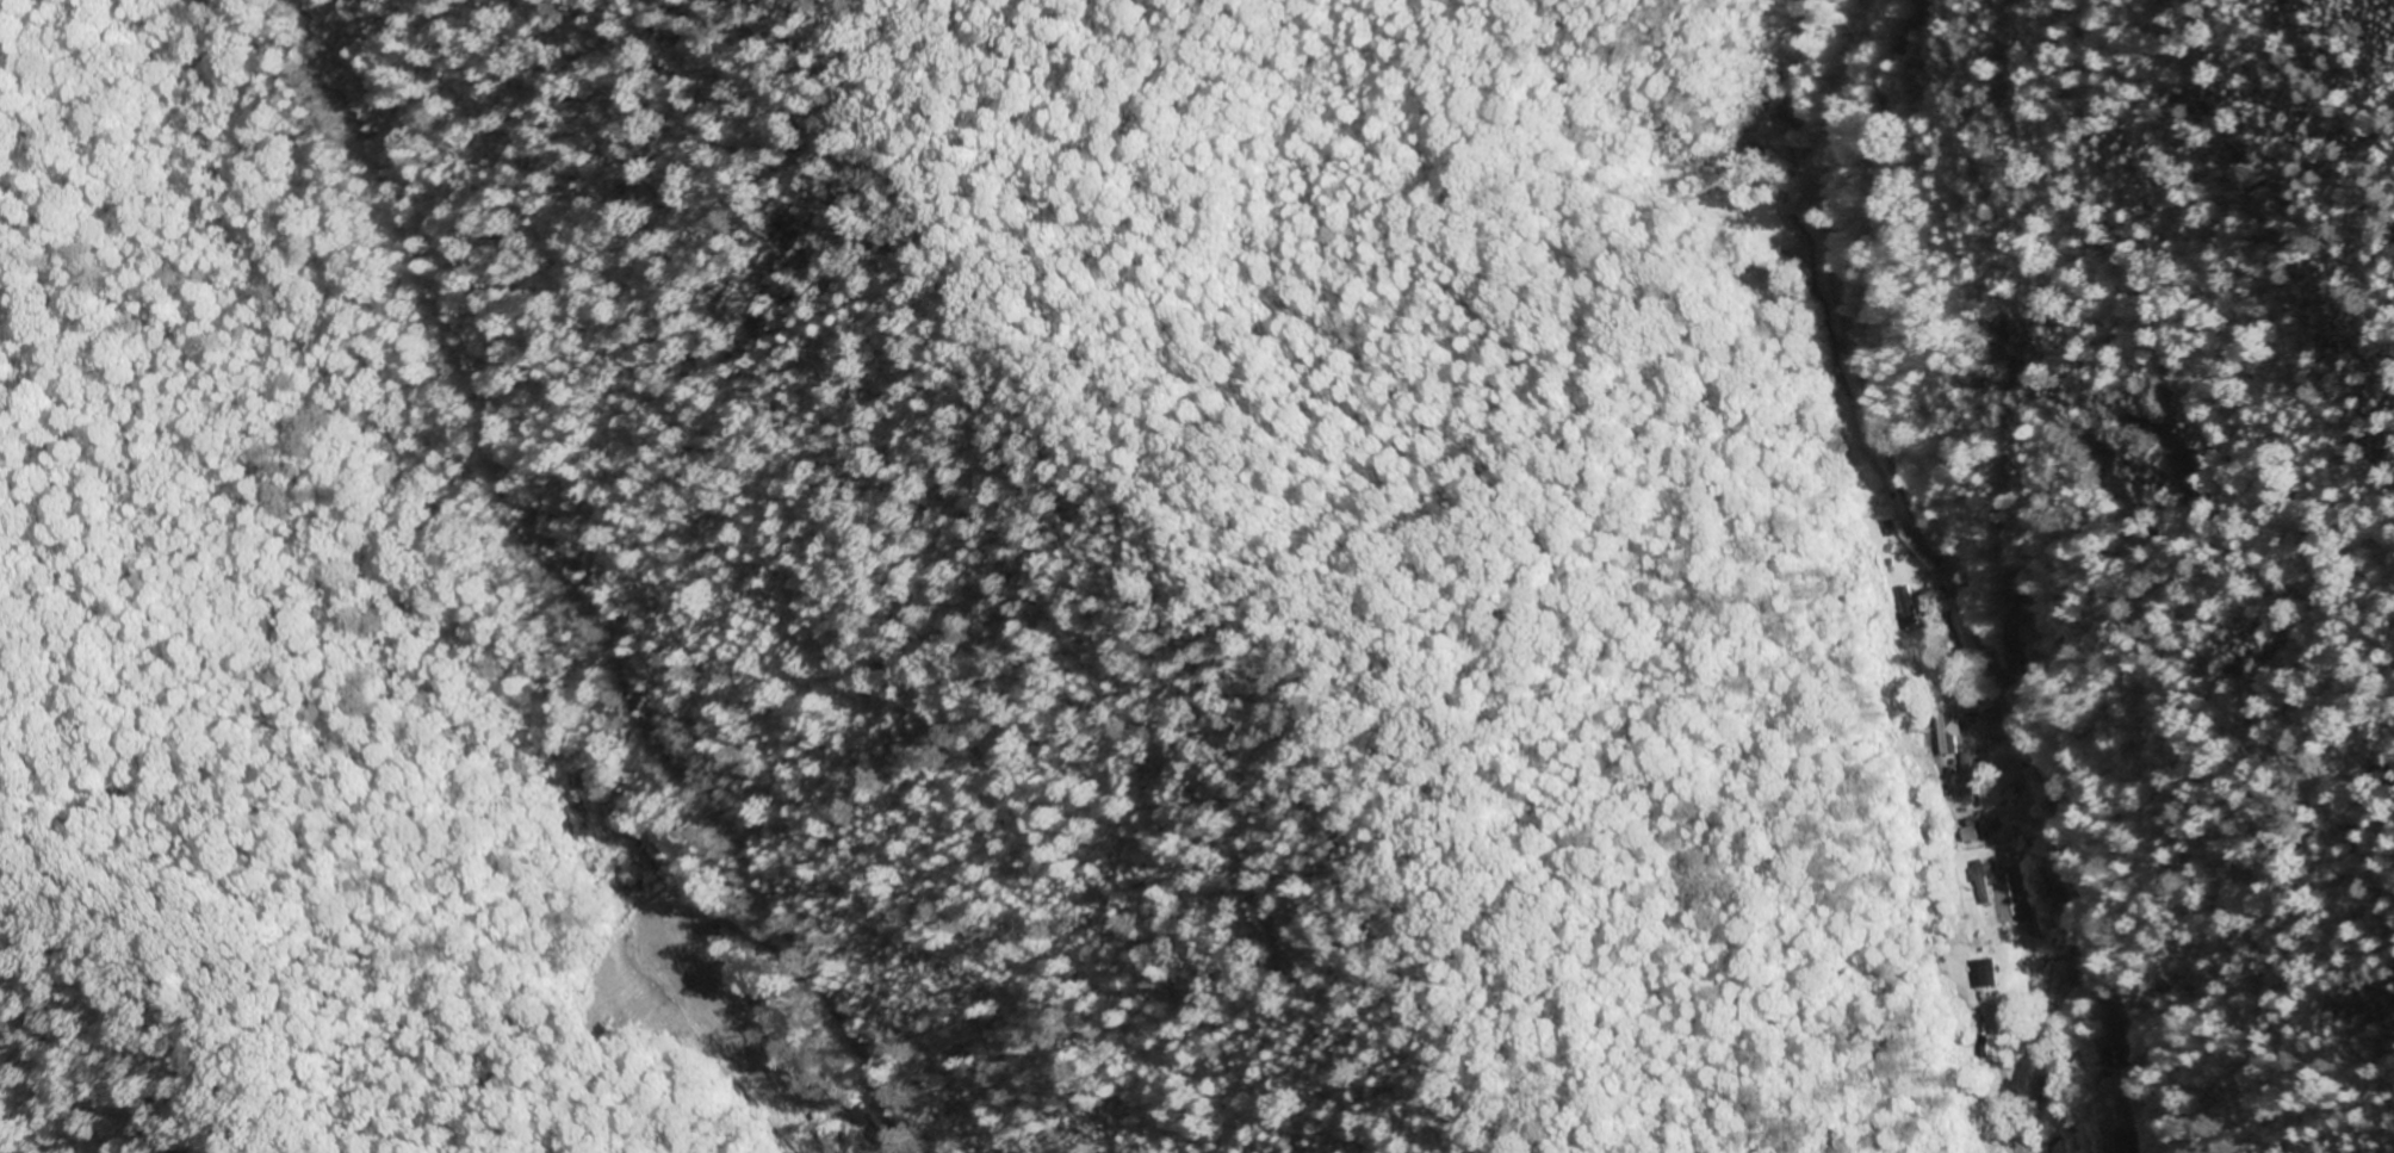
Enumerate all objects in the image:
building: (1968, 777)
building: (1981, 884)
building: (2038, 1090)
road: (1985, 1137)
road: (2036, 1152)

